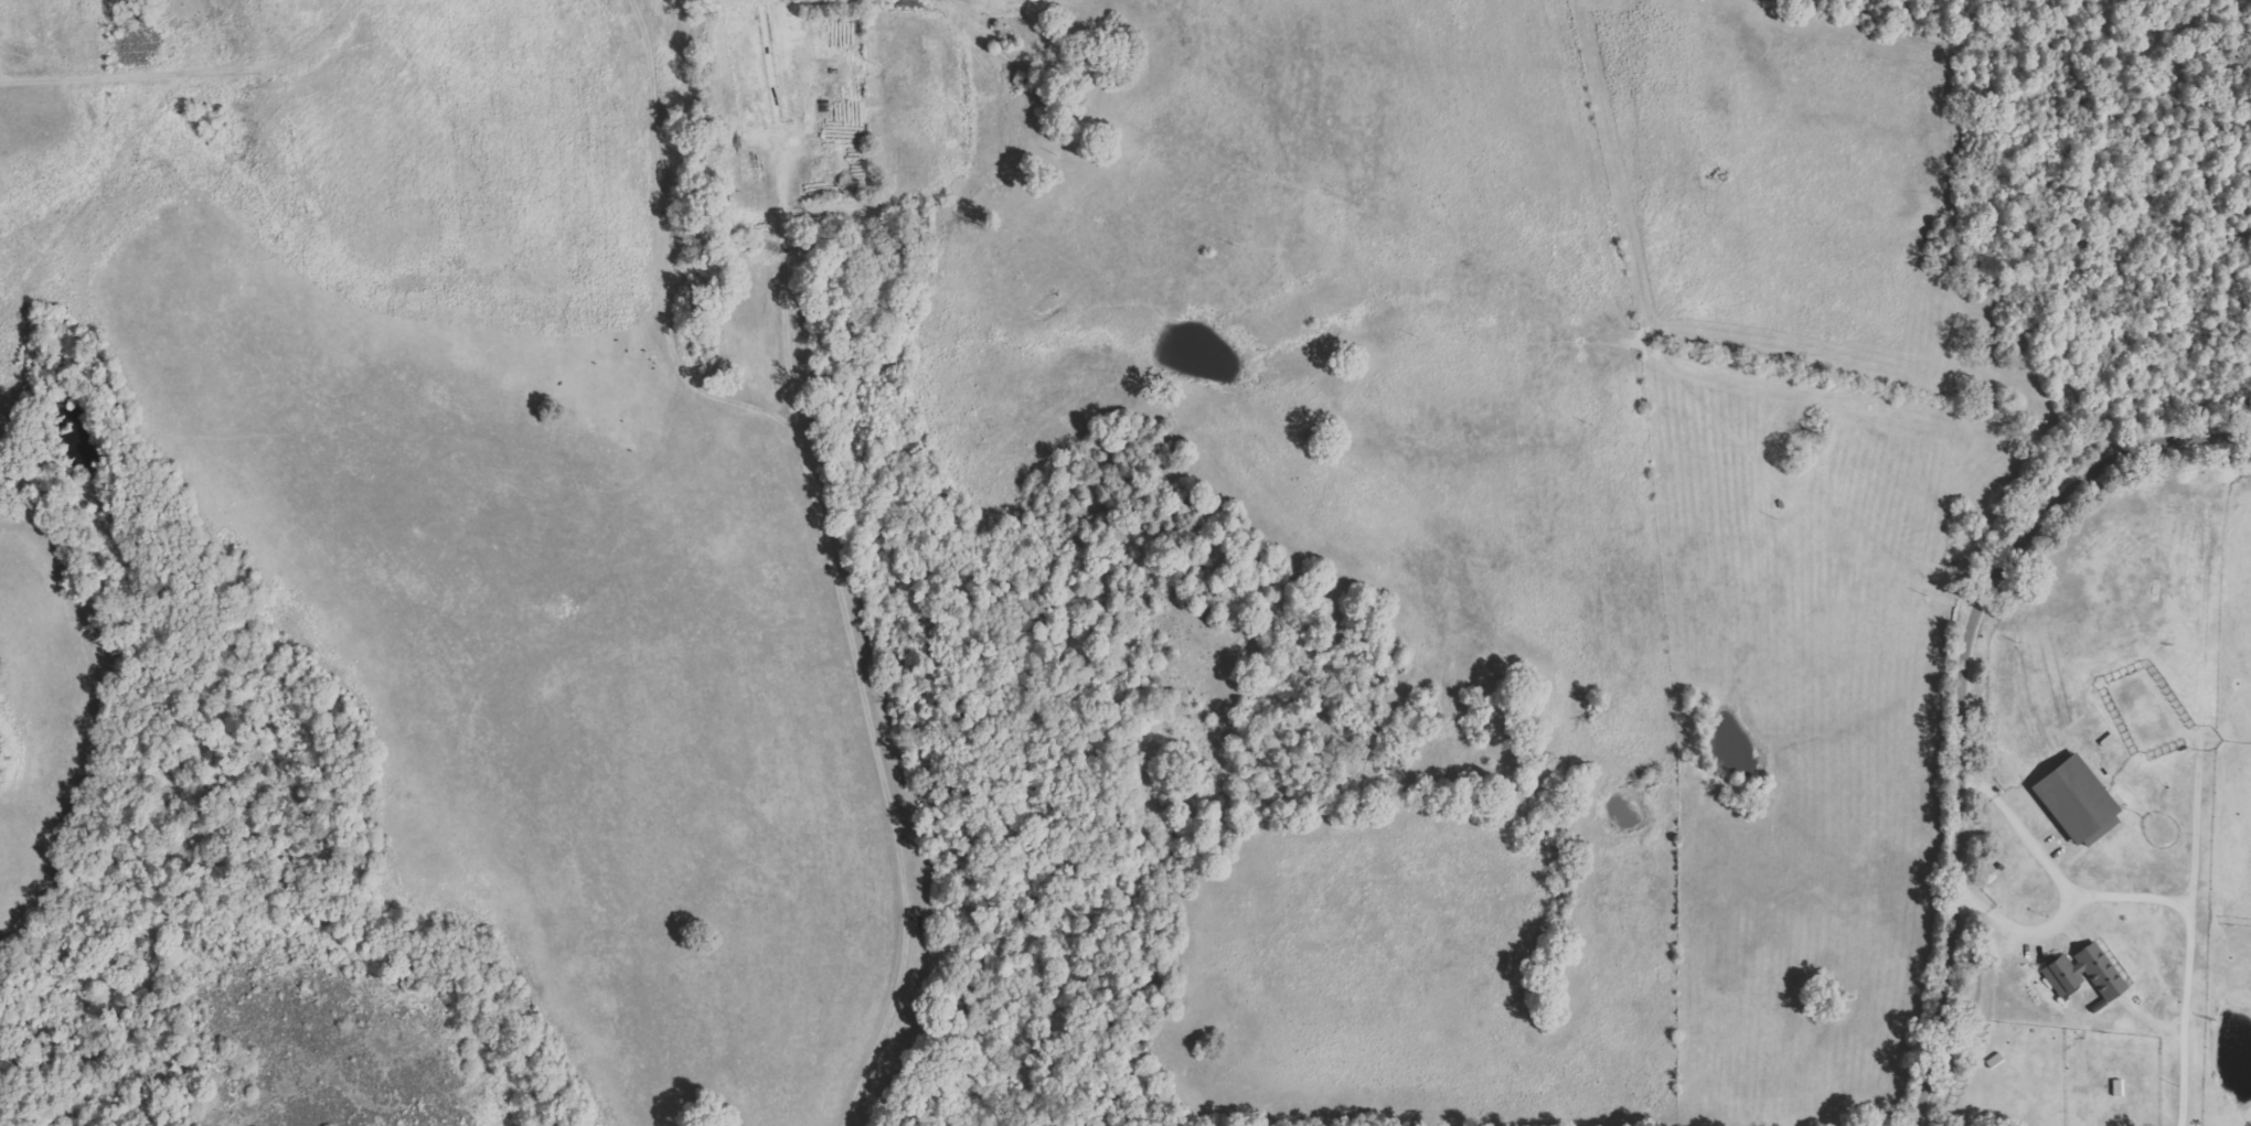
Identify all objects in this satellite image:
road: (1964, 698)
building: (2070, 803)
road: (2063, 888)
building: (2080, 970)

